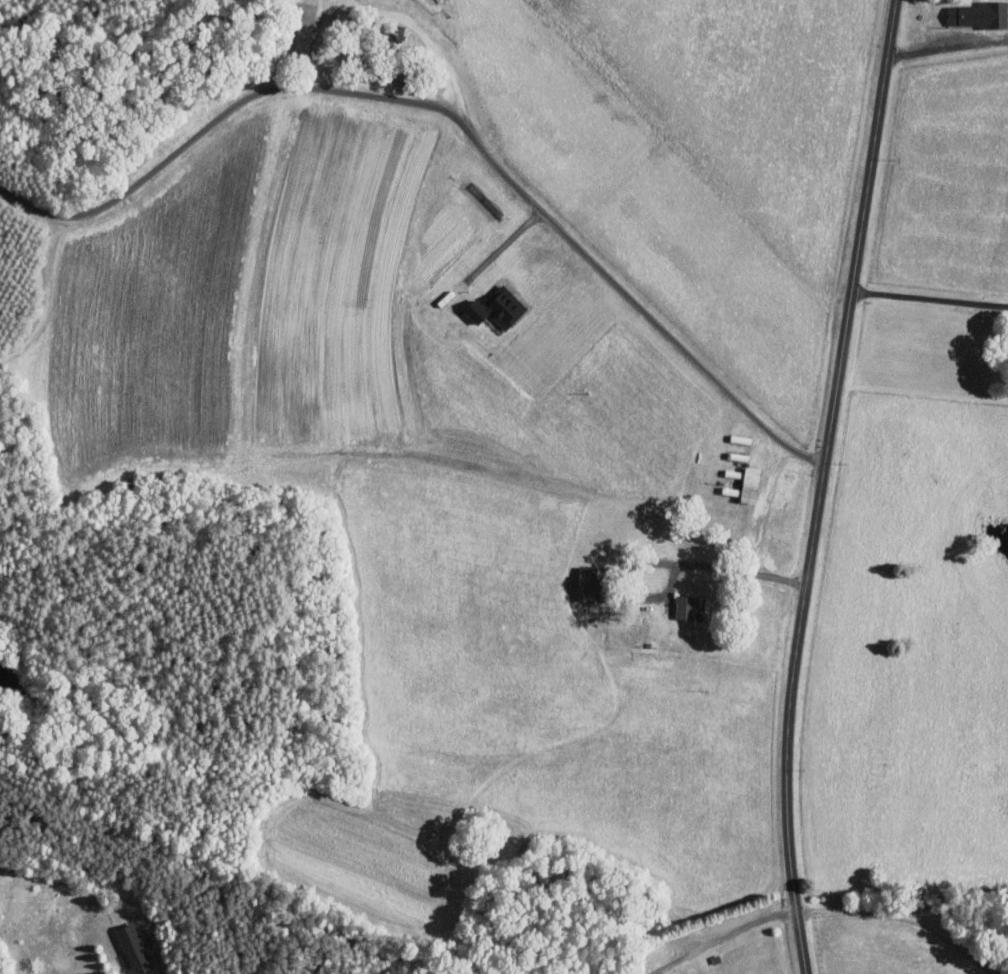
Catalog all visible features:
building: (979, 13)
road: (424, 36)
road: (948, 46)
road: (497, 165)
road: (56, 213)
road: (504, 245)
road: (930, 296)
building: (496, 307)
building: (749, 484)
road: (822, 485)
road: (704, 563)
road: (672, 577)
building: (585, 583)
building: (685, 607)
road: (938, 613)
road: (908, 914)
road: (722, 936)
building: (132, 949)

